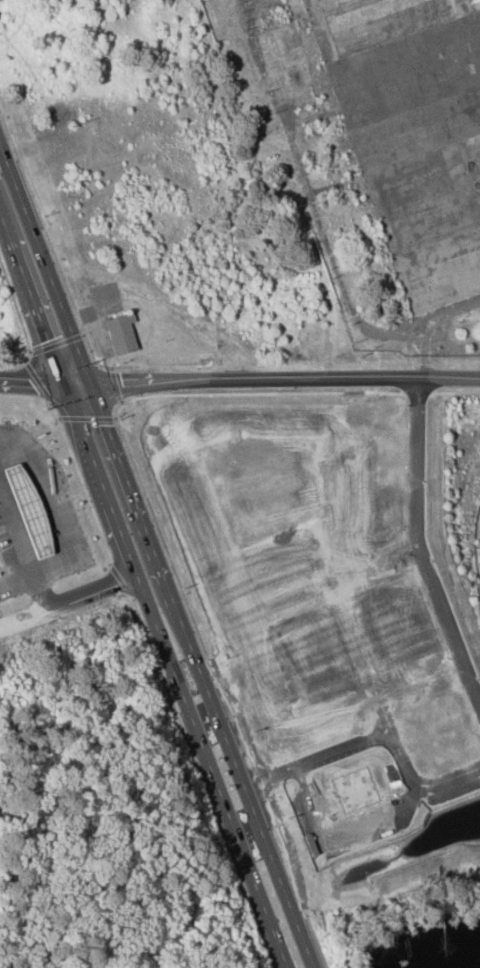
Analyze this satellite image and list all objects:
road: (308, 192)
road: (56, 256)
road: (45, 261)
road: (31, 295)
road: (18, 319)
road: (428, 322)
building: (122, 333)
traffic signals: (48, 341)
road: (57, 344)
power tower: (405, 348)
road: (239, 377)
traffic signals: (31, 380)
road: (37, 380)
traffic signals: (122, 381)
road: (115, 384)
road: (460, 388)
road: (30, 400)
power tower: (165, 402)
road: (85, 418)
traffic signals: (106, 424)
road: (11, 439)
road: (79, 482)
building: (28, 509)
road: (65, 525)
road: (16, 532)
road: (419, 546)
road: (10, 550)
road: (121, 581)
road: (73, 599)
road: (174, 674)
road: (202, 675)
road: (218, 684)
road: (380, 735)
road: (203, 783)

